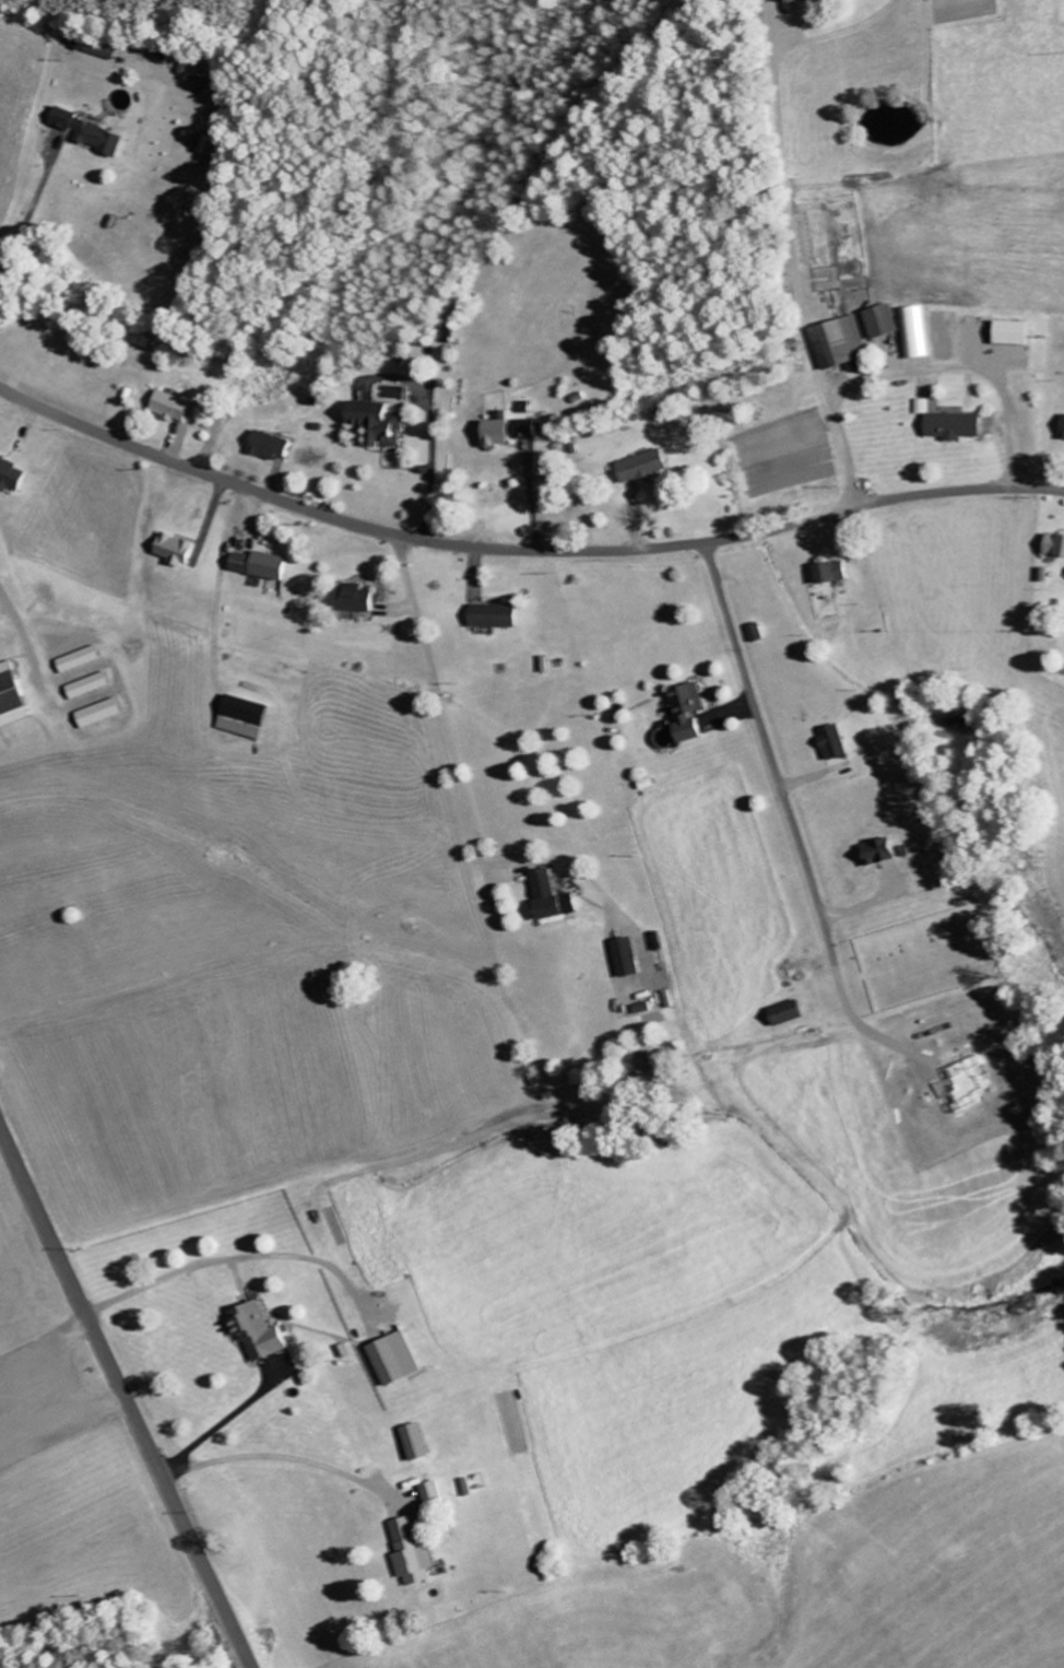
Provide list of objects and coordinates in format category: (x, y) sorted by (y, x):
building: (779, 1)
building: (107, 50)
building: (209, 83)
building: (96, 133)
building: (875, 321)
building: (910, 332)
building: (1006, 332)
building: (834, 341)
building: (179, 407)
building: (381, 422)
building: (949, 426)
building: (1060, 427)
building: (512, 431)
building: (274, 446)
building: (636, 467)
building: (1052, 545)
building: (180, 550)
road: (520, 550)
building: (264, 566)
road: (711, 572)
building: (825, 572)
building: (366, 600)
building: (496, 616)
building: (1, 625)
building: (83, 660)
building: (93, 686)
building: (15, 697)
building: (681, 712)
building: (105, 714)
building: (250, 718)
building: (828, 742)
road: (779, 789)
building: (873, 851)
building: (541, 895)
building: (622, 958)
building: (779, 1014)
building: (257, 1332)
building: (392, 1360)
road: (125, 1395)
building: (413, 1443)
building: (407, 1551)

